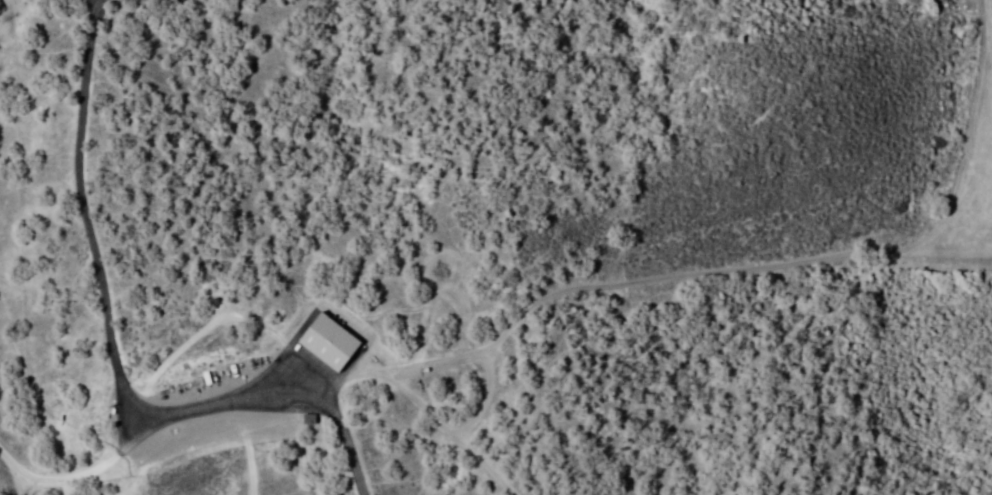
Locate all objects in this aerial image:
road: (80, 222)
building: (331, 342)
building: (260, 373)
road: (222, 393)
building: (154, 434)
road: (16, 462)

